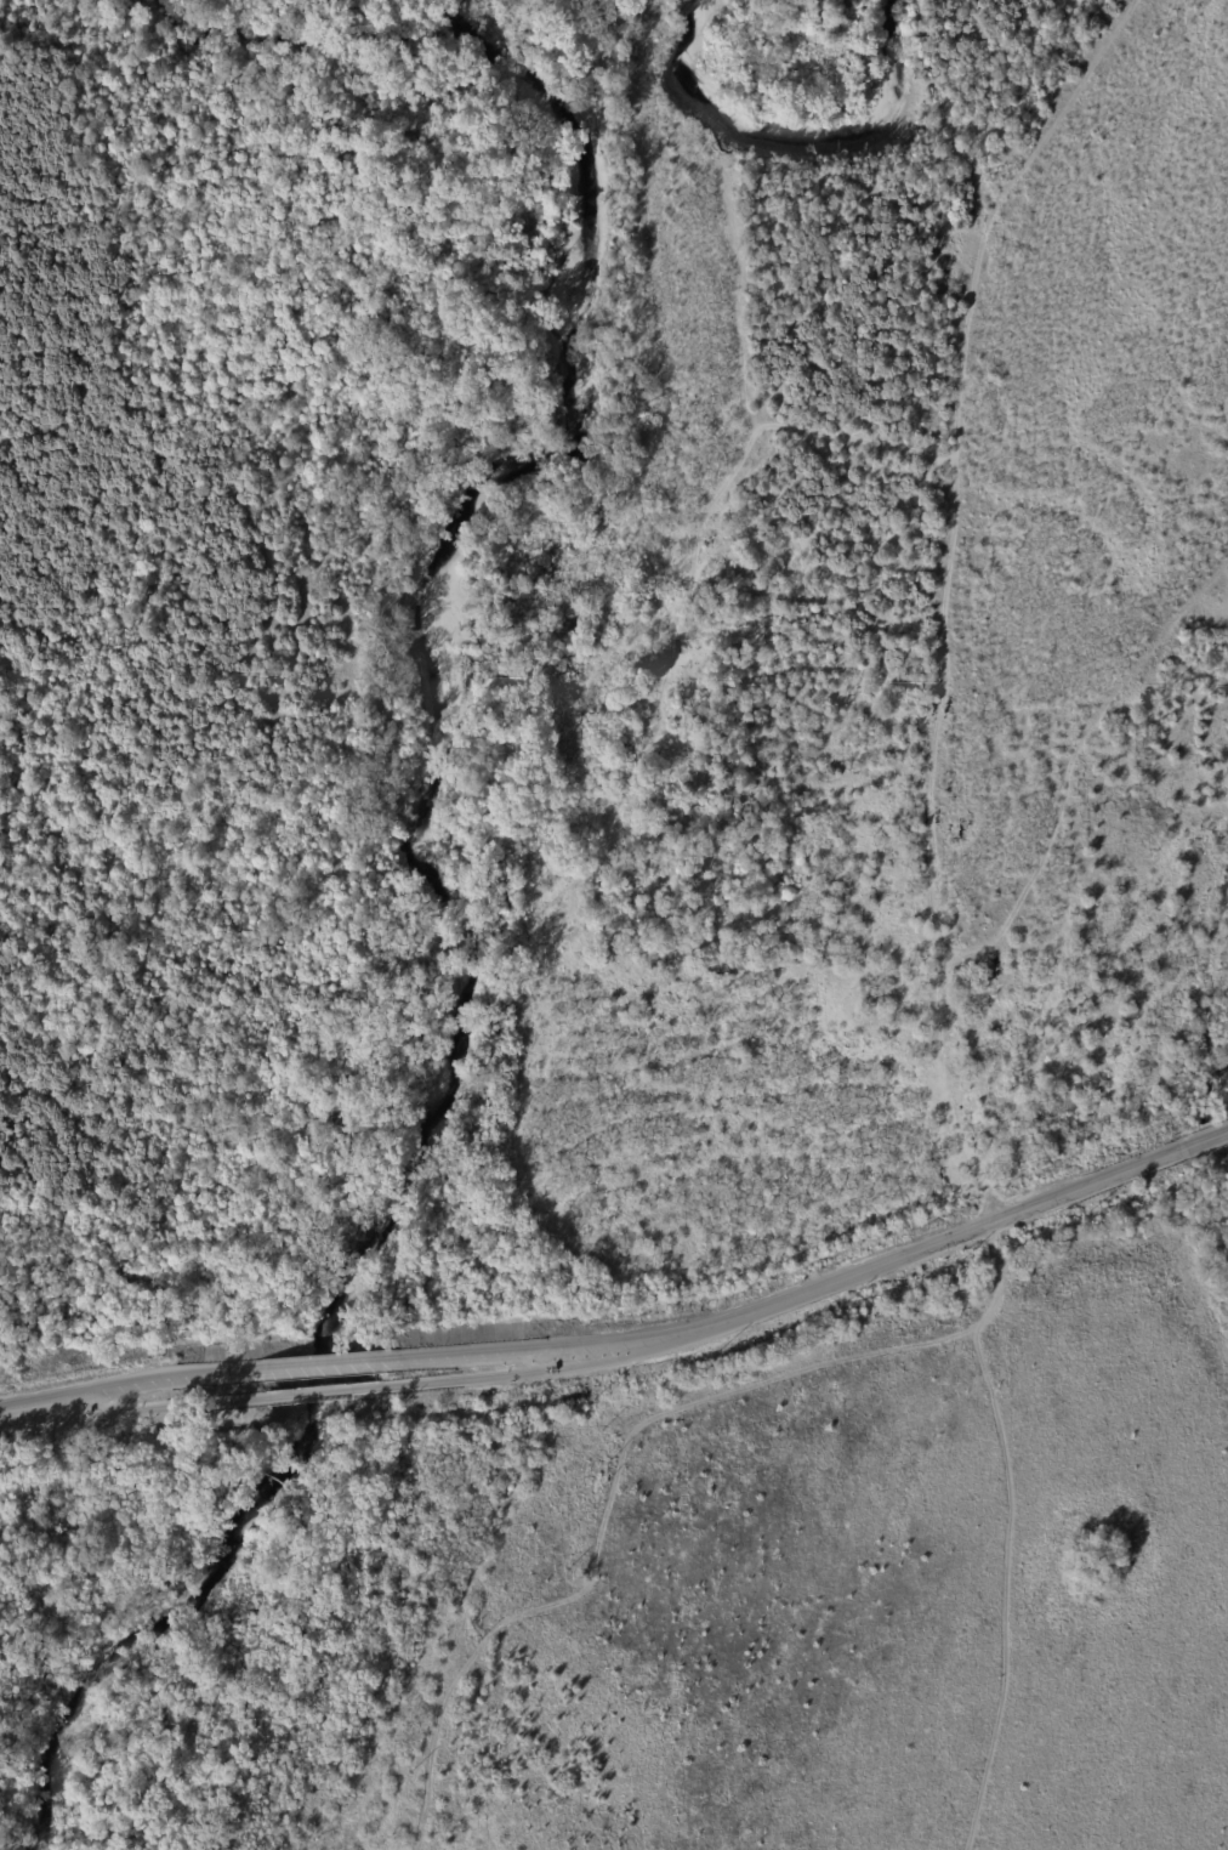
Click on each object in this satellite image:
road: (1177, 193)
road: (1119, 348)
building: (711, 544)
road: (1175, 563)
road: (1022, 601)
building: (942, 961)
building: (892, 1008)
building: (948, 1026)
road: (1209, 1139)
road: (950, 1237)
road: (548, 1344)
road: (328, 1361)
road: (544, 1369)
road: (133, 1379)
road: (320, 1392)
road: (135, 1408)

